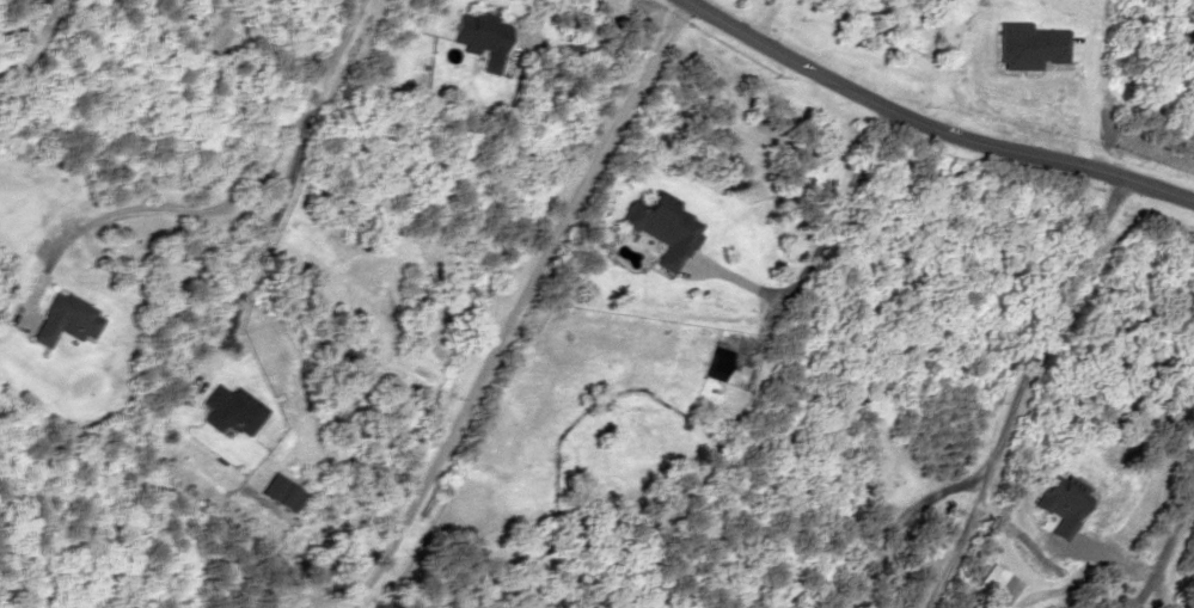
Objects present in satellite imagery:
building: (479, 36)
road: (929, 127)
road: (301, 168)
road: (222, 198)
road: (516, 303)
building: (63, 319)
road: (1054, 331)
building: (229, 410)
building: (278, 491)
road: (1171, 538)

